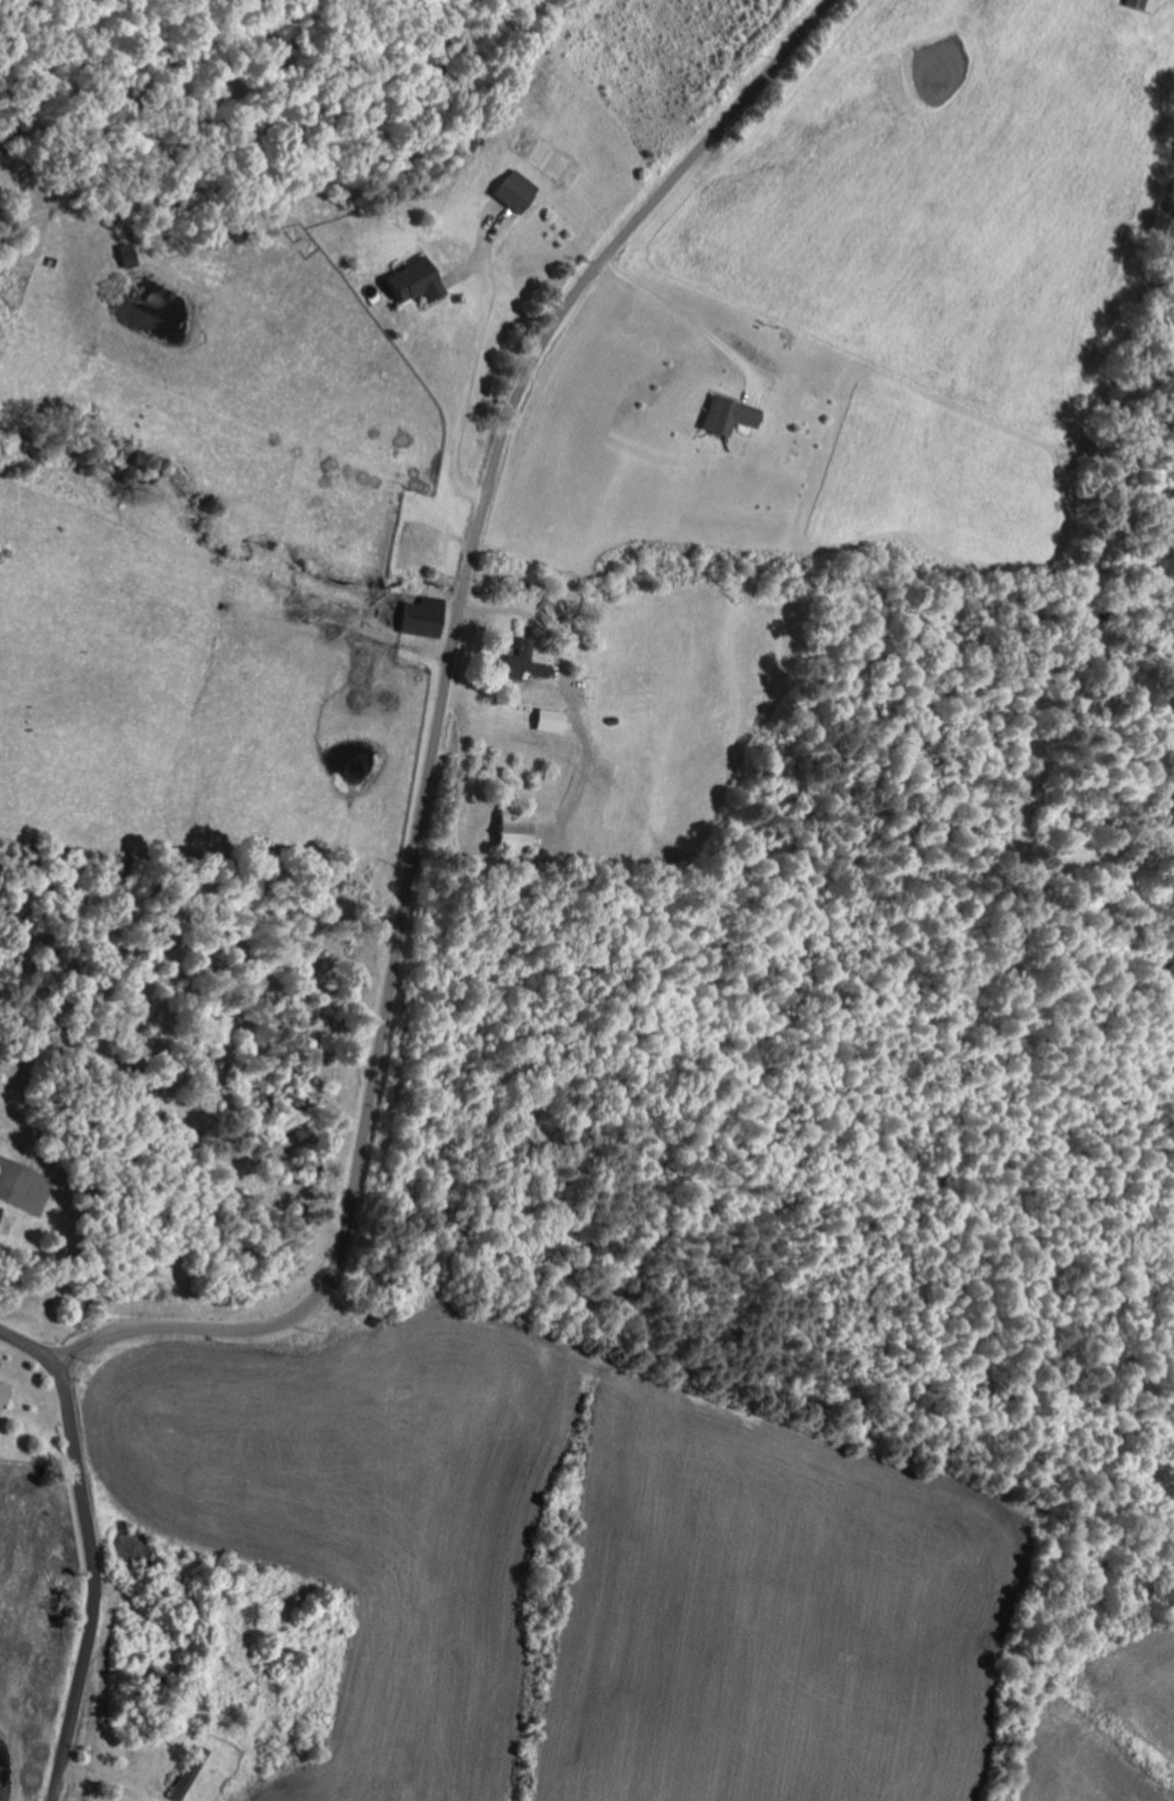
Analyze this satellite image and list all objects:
building: (1142, 5)
building: (509, 191)
building: (410, 282)
road: (687, 315)
road: (477, 384)
building: (723, 416)
building: (420, 617)
building: (523, 664)
road: (569, 679)
building: (546, 721)
road: (433, 738)
building: (507, 830)
building: (4, 1390)
road: (92, 1551)
road: (107, 1783)

